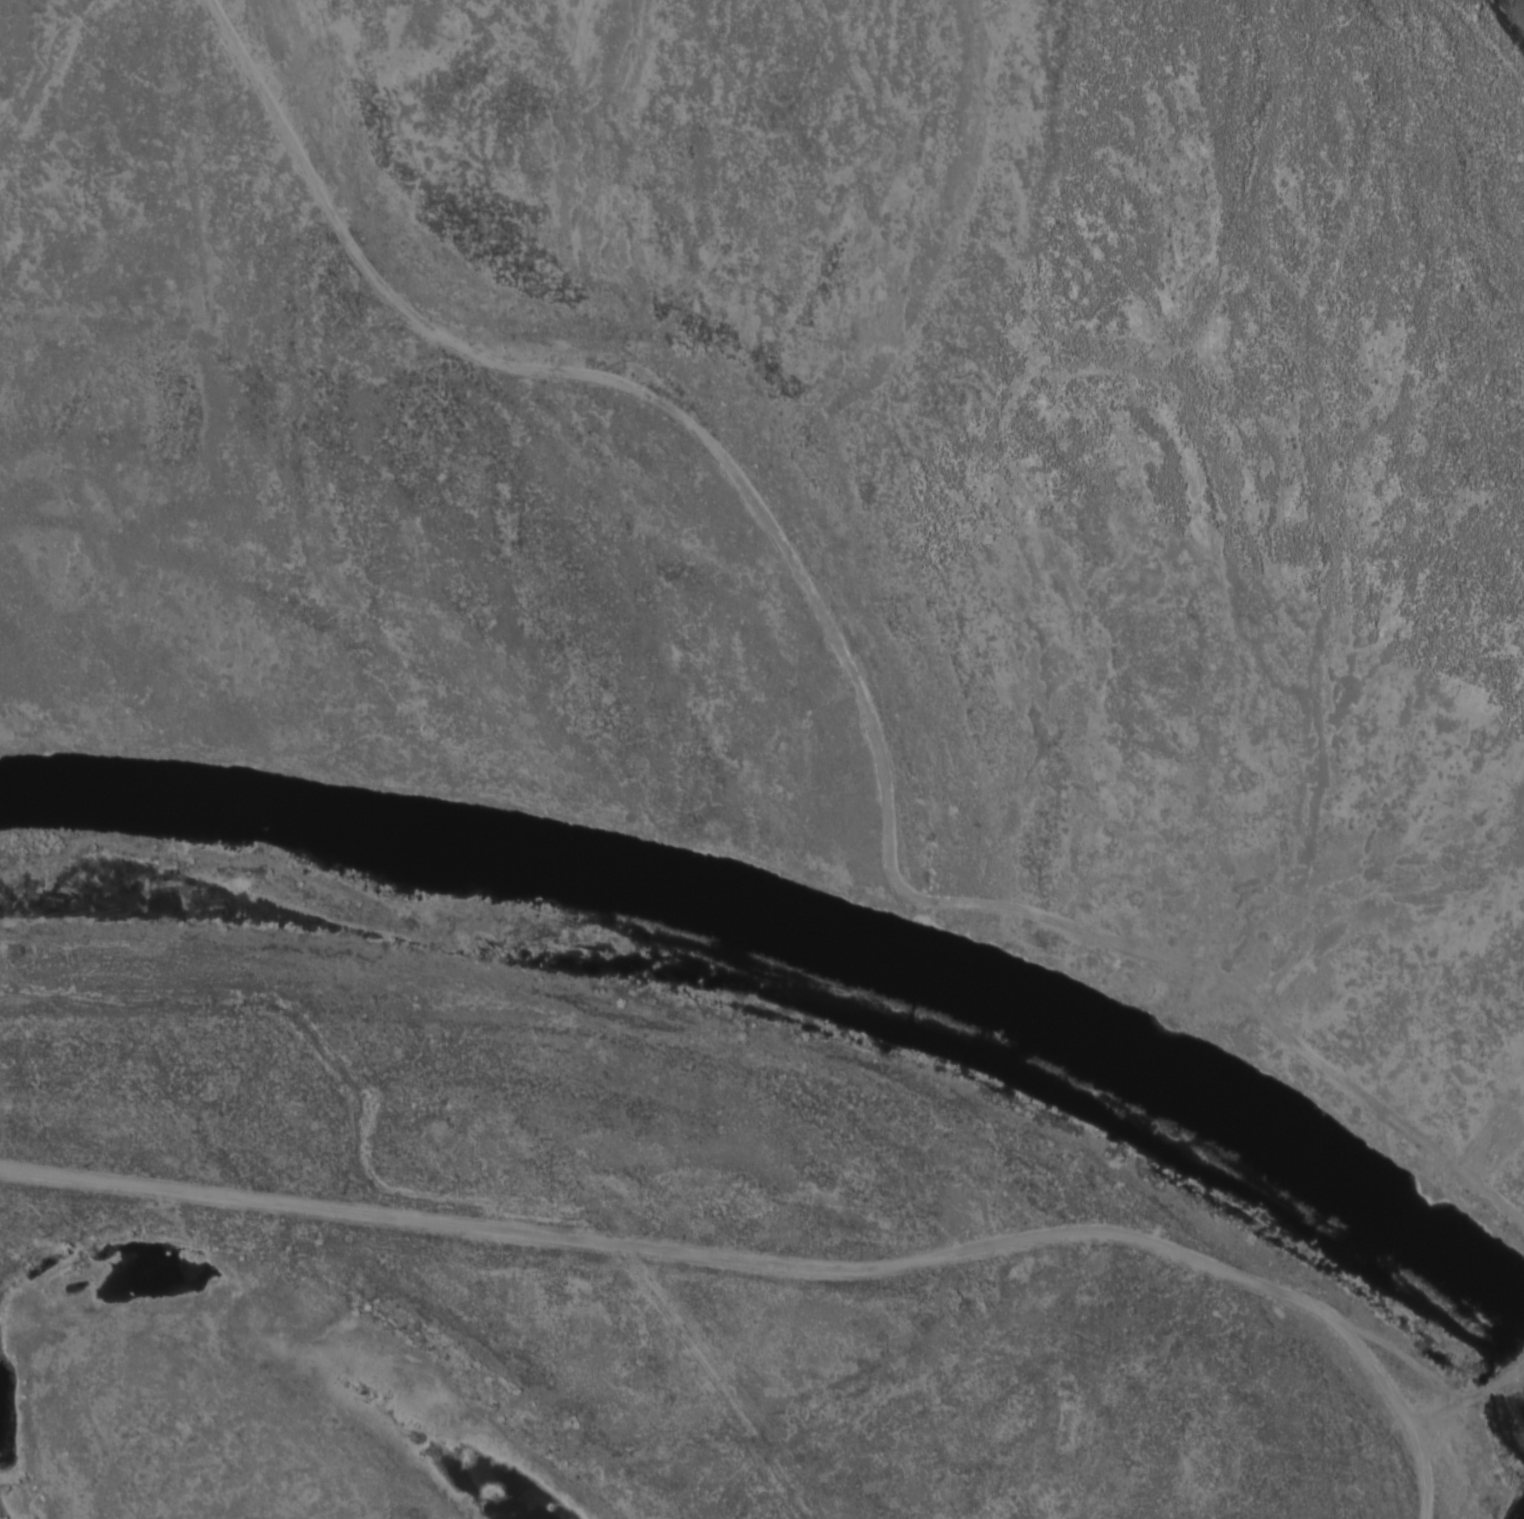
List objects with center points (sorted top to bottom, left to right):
river: (1522, 3)

